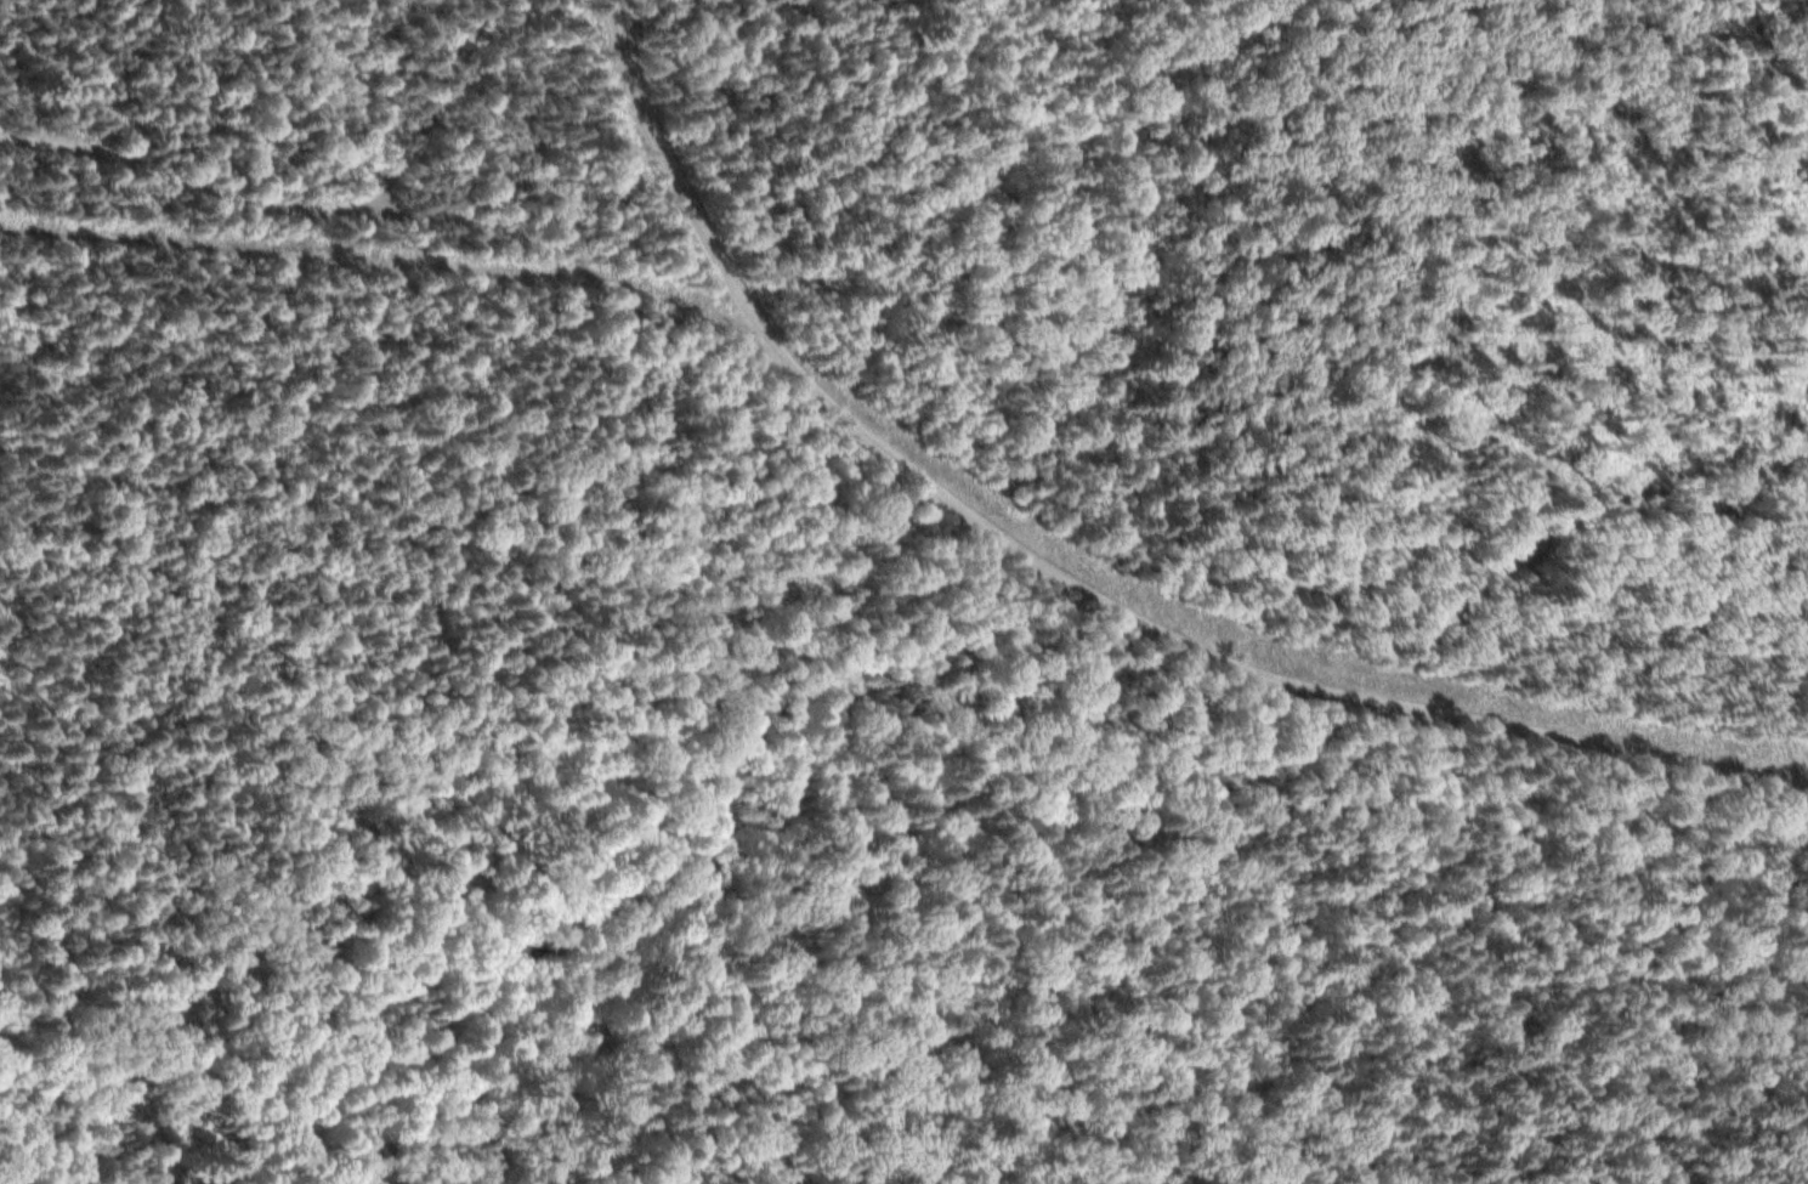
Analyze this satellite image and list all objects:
road: (440, 107)
road: (675, 172)
road: (183, 176)
road: (1236, 665)

